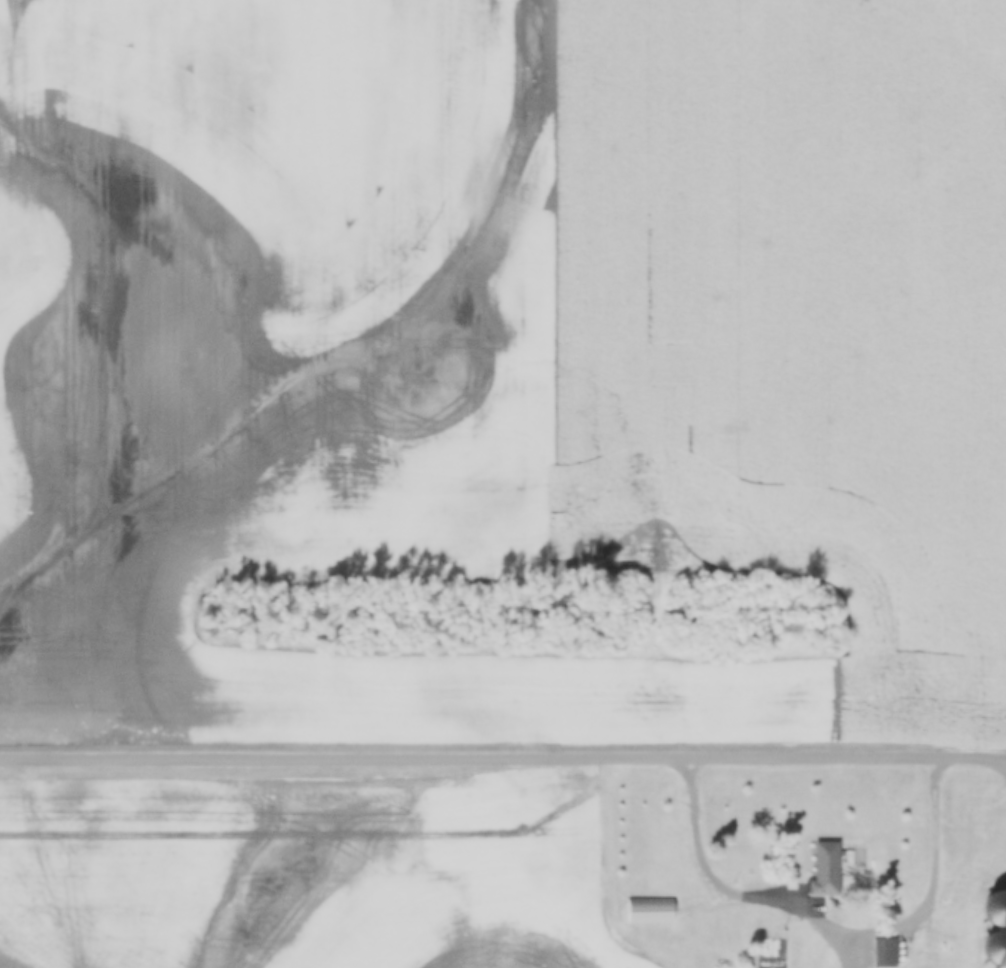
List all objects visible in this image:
road: (503, 759)
road: (697, 835)
building: (827, 870)
road: (777, 899)
building: (651, 912)
road: (835, 941)
building: (886, 953)

